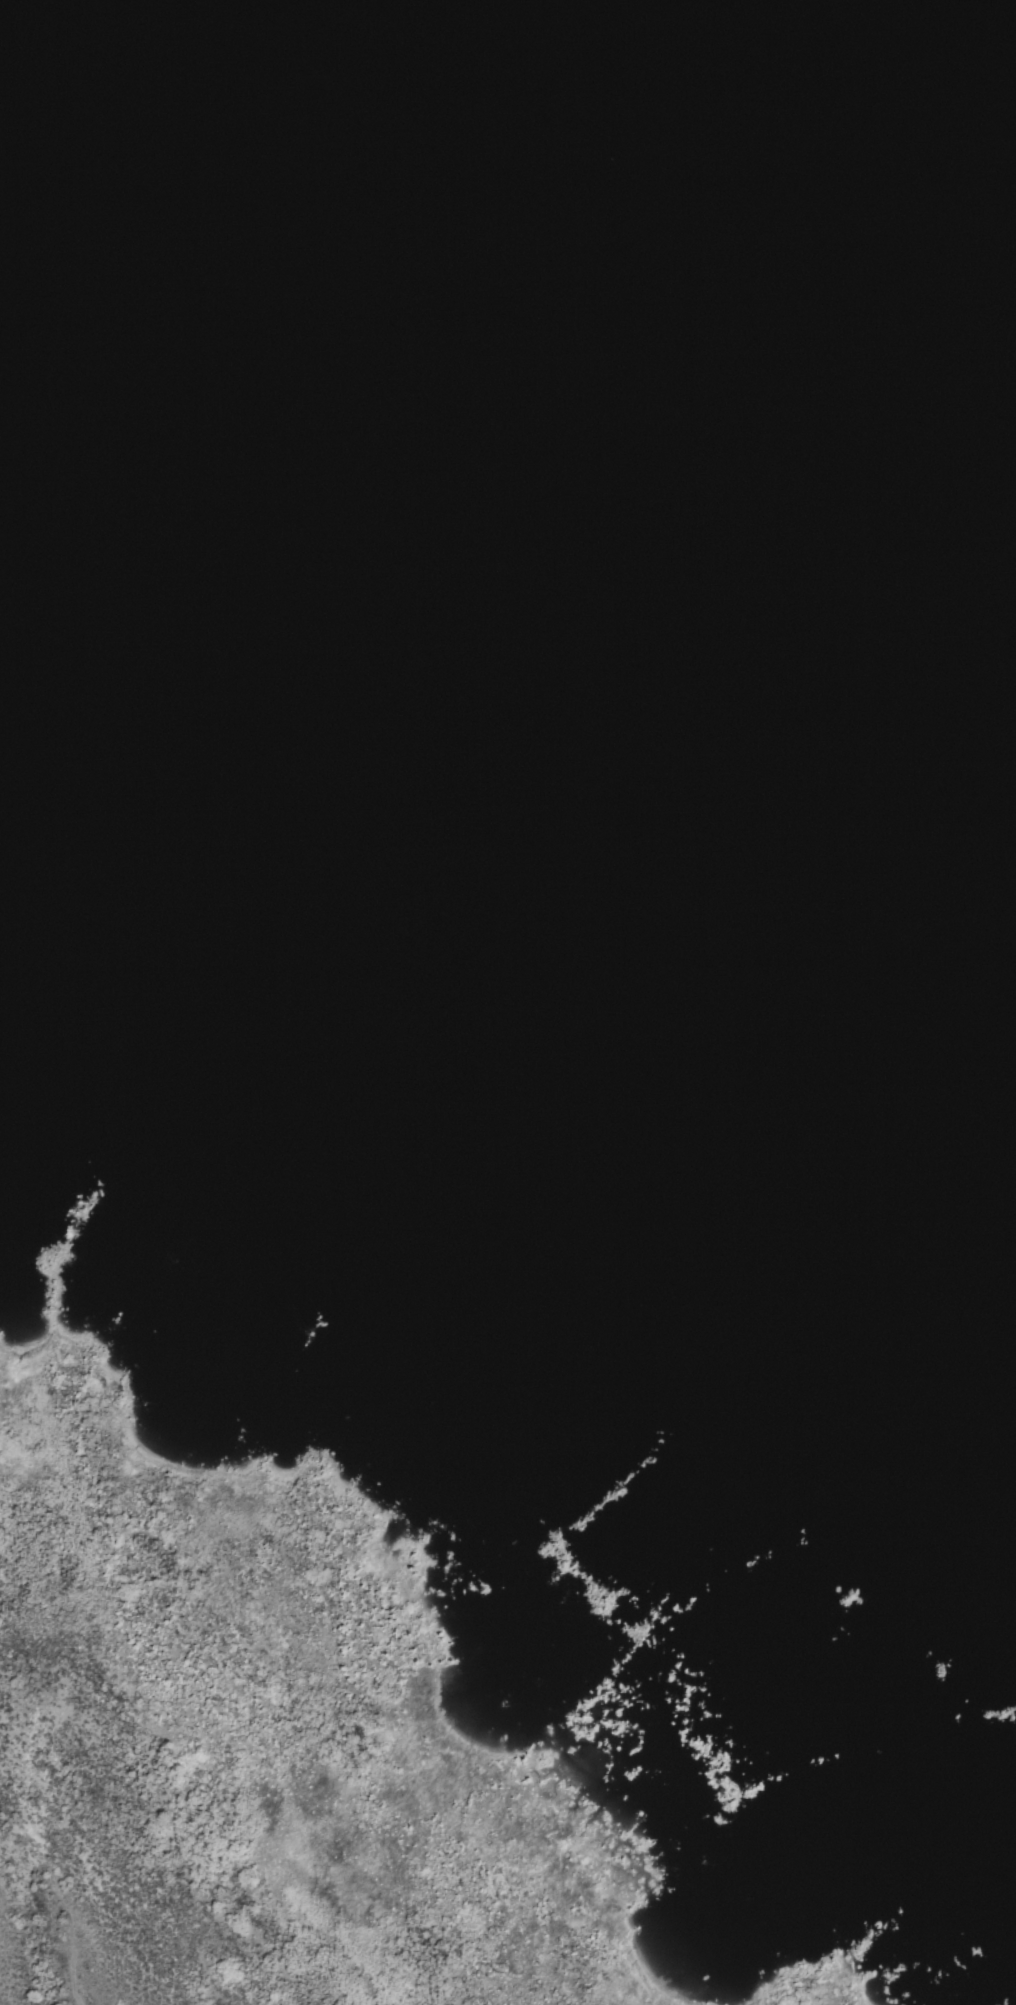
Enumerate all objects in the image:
road: (62, 1974)

